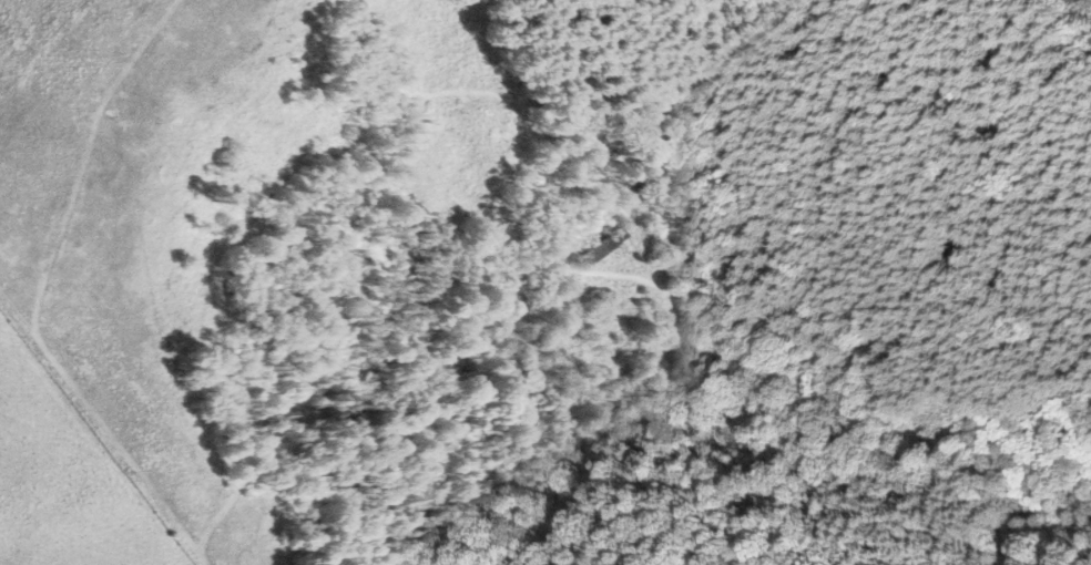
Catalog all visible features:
building: (592, 245)

